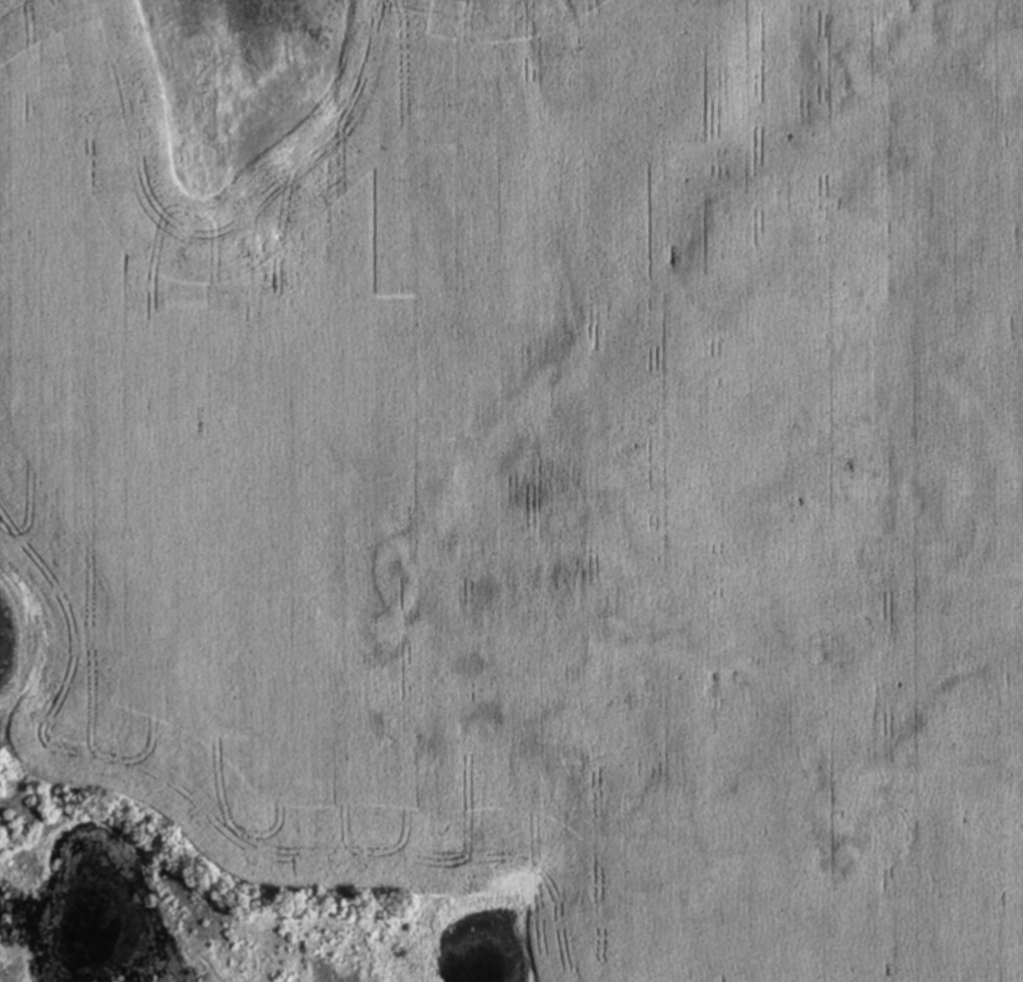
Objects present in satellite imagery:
park: (181, 918)

